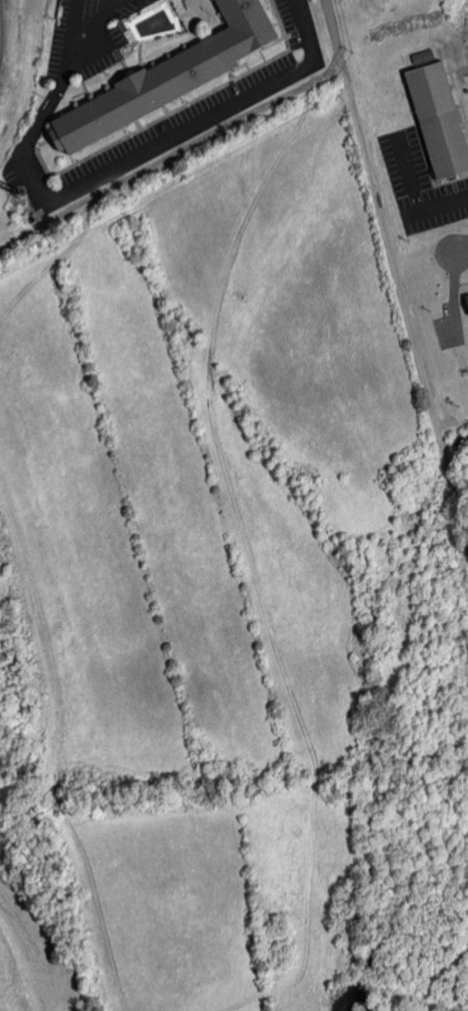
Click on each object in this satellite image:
road: (120, 2)
road: (74, 27)
building: (176, 77)
building: (433, 121)
road: (408, 173)
road: (104, 174)
road: (436, 207)
road: (461, 249)
road: (396, 273)
road: (454, 295)
building: (465, 302)

